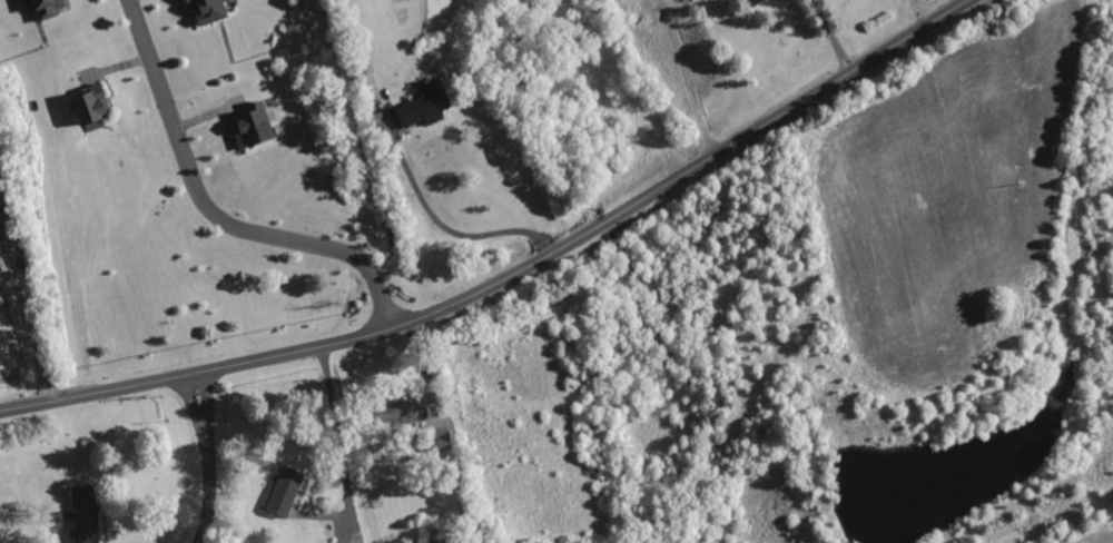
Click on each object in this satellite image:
building: (748, 2)
building: (41, 8)
building: (203, 10)
road: (831, 37)
building: (85, 103)
building: (420, 105)
building: (248, 126)
road: (210, 214)
road: (453, 226)
road: (513, 273)
road: (24, 318)
building: (391, 413)
road: (338, 436)
building: (433, 441)
road: (209, 457)
building: (279, 492)
building: (80, 515)

